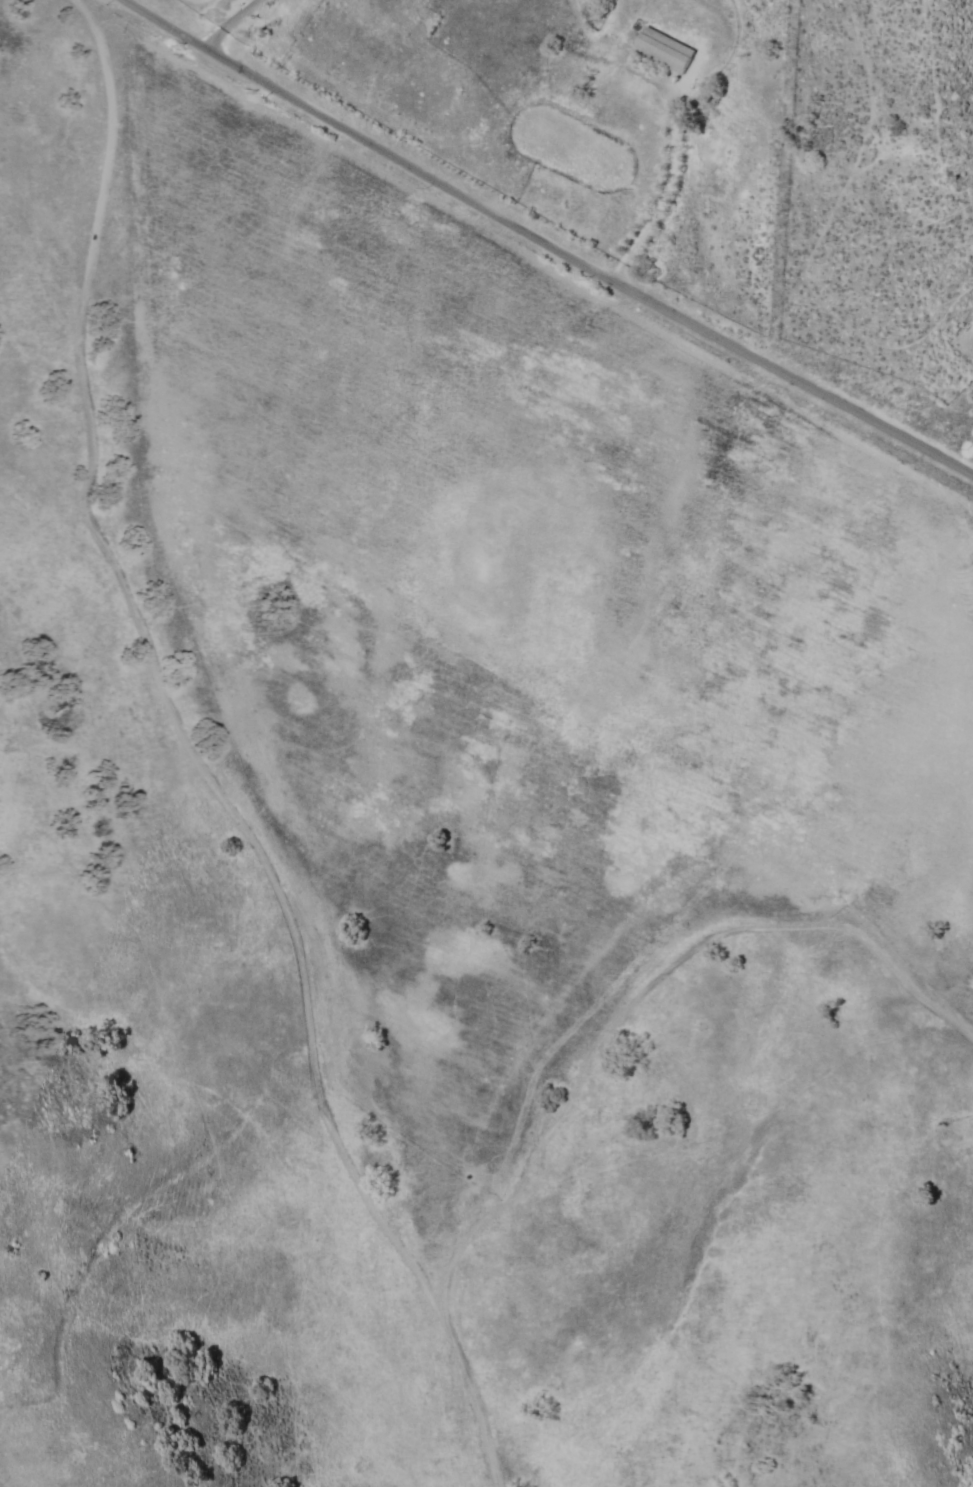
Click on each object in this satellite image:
building: (662, 49)
road: (547, 241)
road: (265, 745)

